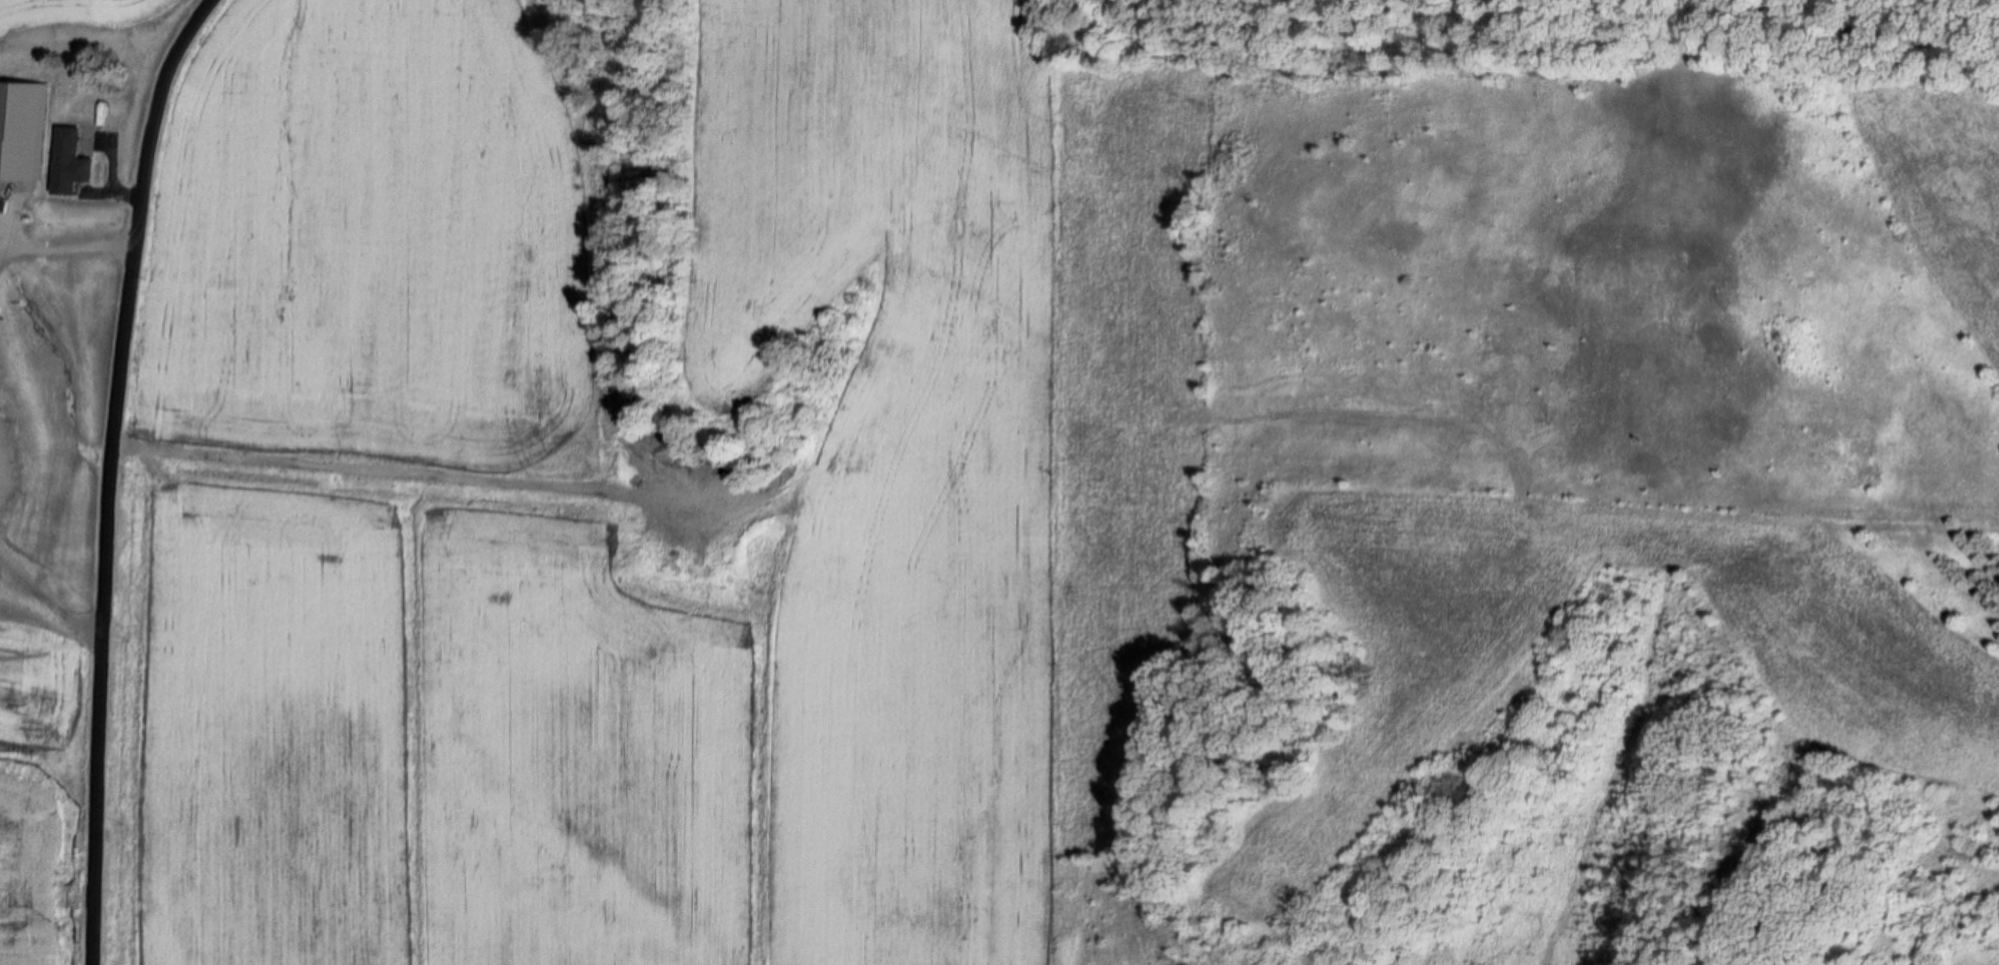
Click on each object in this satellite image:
building: (17, 124)
building: (74, 164)
building: (83, 224)
road: (67, 247)
road: (111, 473)
road: (49, 600)

